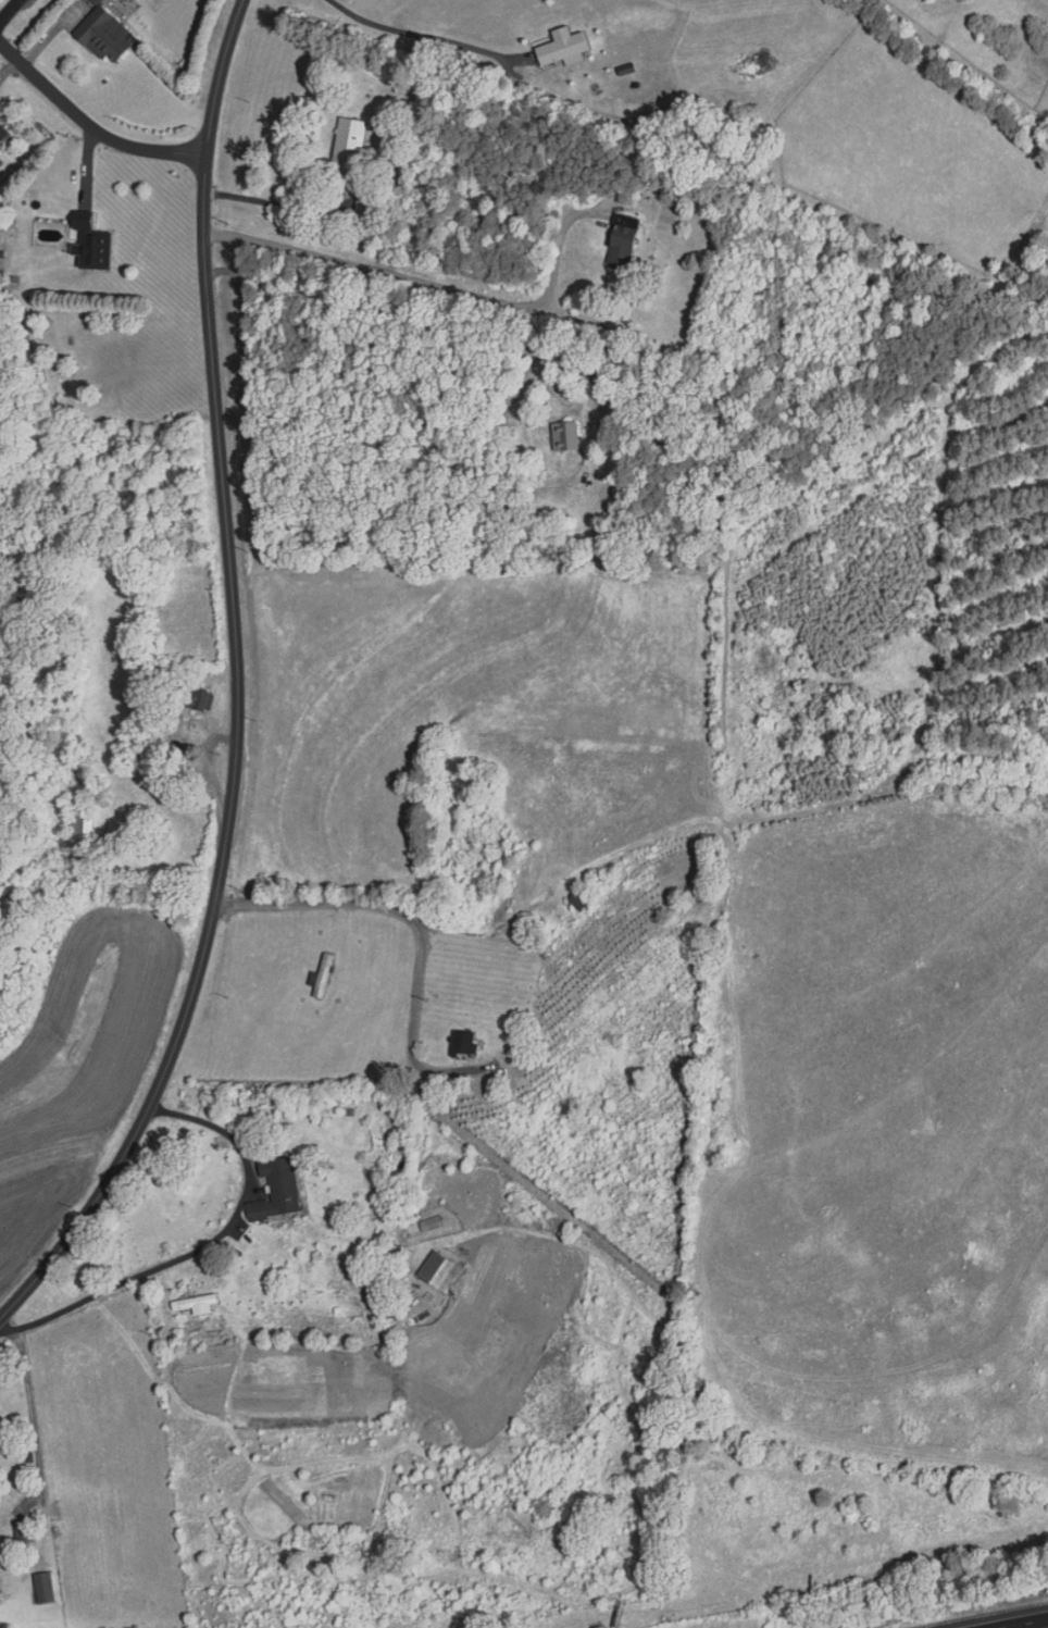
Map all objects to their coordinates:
building: (105, 38)
building: (559, 49)
road: (90, 125)
building: (1, 133)
building: (344, 147)
building: (86, 243)
building: (616, 245)
road: (427, 285)
road: (401, 314)
building: (563, 437)
road: (237, 686)
building: (194, 700)
building: (74, 830)
building: (502, 870)
building: (574, 900)
road: (388, 908)
building: (319, 977)
building: (457, 1045)
building: (272, 1191)
road: (203, 1246)
building: (434, 1270)
building: (195, 1316)
road: (30, 1417)
building: (20, 1530)
building: (40, 1588)
road: (1024, 1623)

